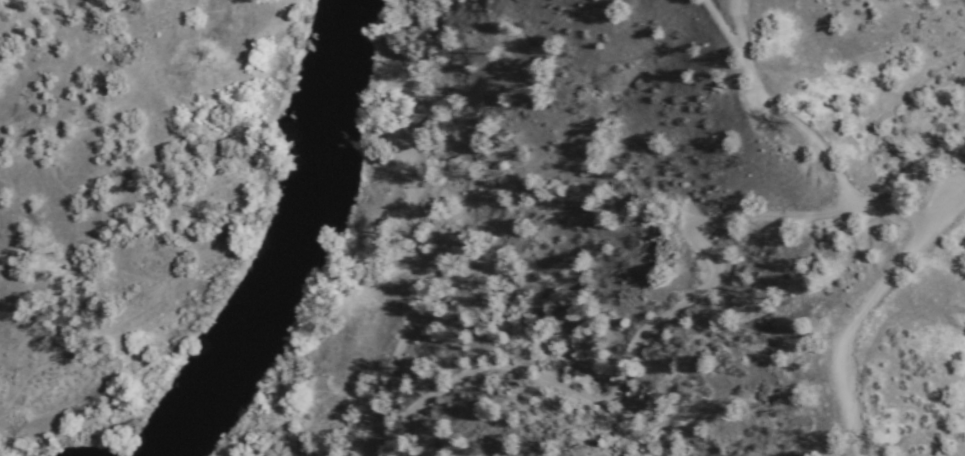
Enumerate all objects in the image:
road: (798, 97)
river: (287, 240)
road: (429, 242)
road: (729, 250)

